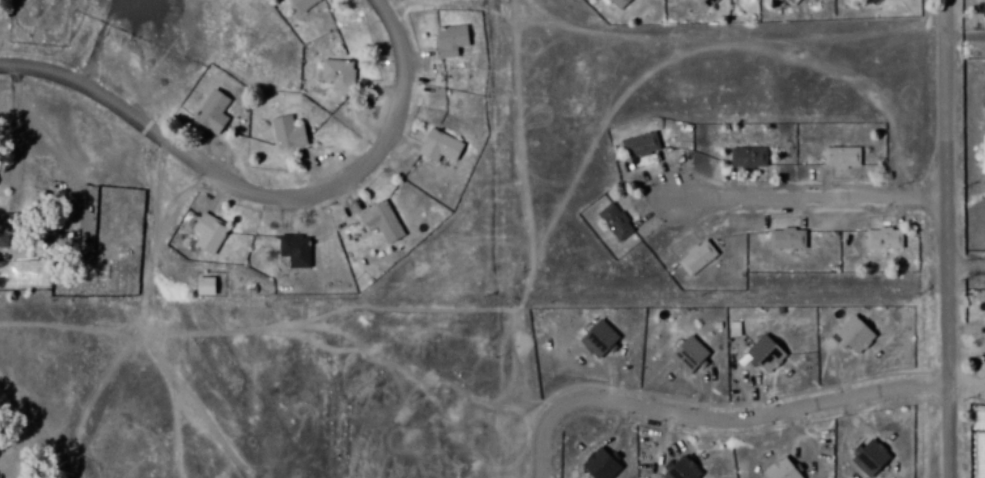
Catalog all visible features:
building: (788, 2)
building: (614, 3)
building: (703, 3)
building: (870, 3)
building: (303, 5)
building: (981, 8)
building: (450, 42)
building: (338, 75)
building: (213, 113)
building: (287, 133)
building: (633, 145)
building: (441, 146)
building: (838, 156)
building: (744, 157)
road: (262, 190)
road: (814, 197)
building: (383, 222)
building: (609, 223)
building: (8, 228)
building: (209, 235)
road: (954, 238)
building: (780, 239)
building: (879, 240)
building: (296, 251)
building: (691, 257)
building: (207, 287)
building: (730, 329)
building: (592, 338)
building: (848, 338)
building: (682, 354)
building: (759, 354)
road: (965, 375)
road: (716, 417)
building: (863, 457)
building: (597, 466)
building: (674, 470)
building: (776, 470)

